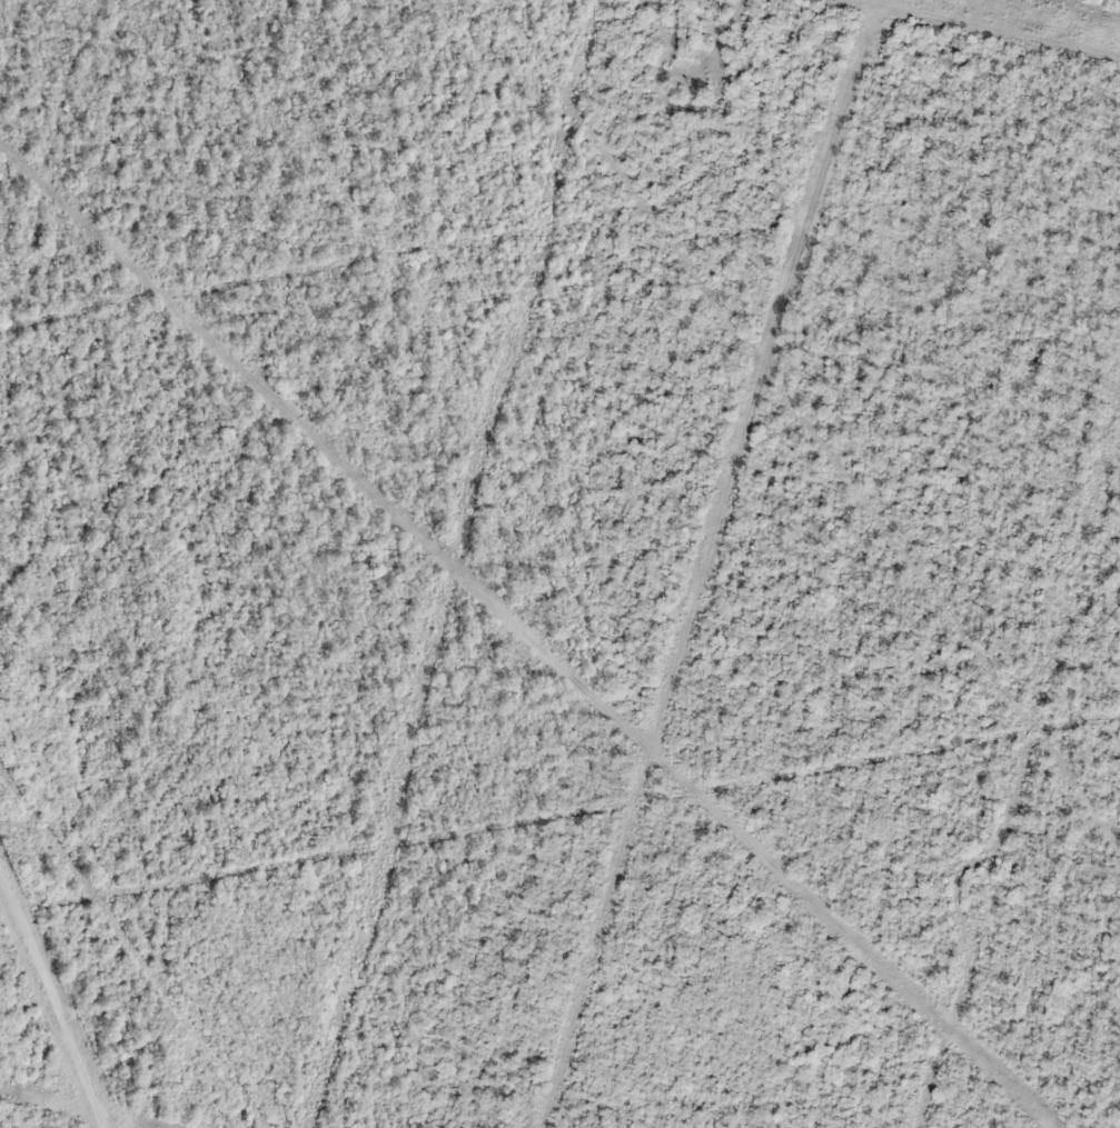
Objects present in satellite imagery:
road: (866, 2)
road: (56, 1000)

